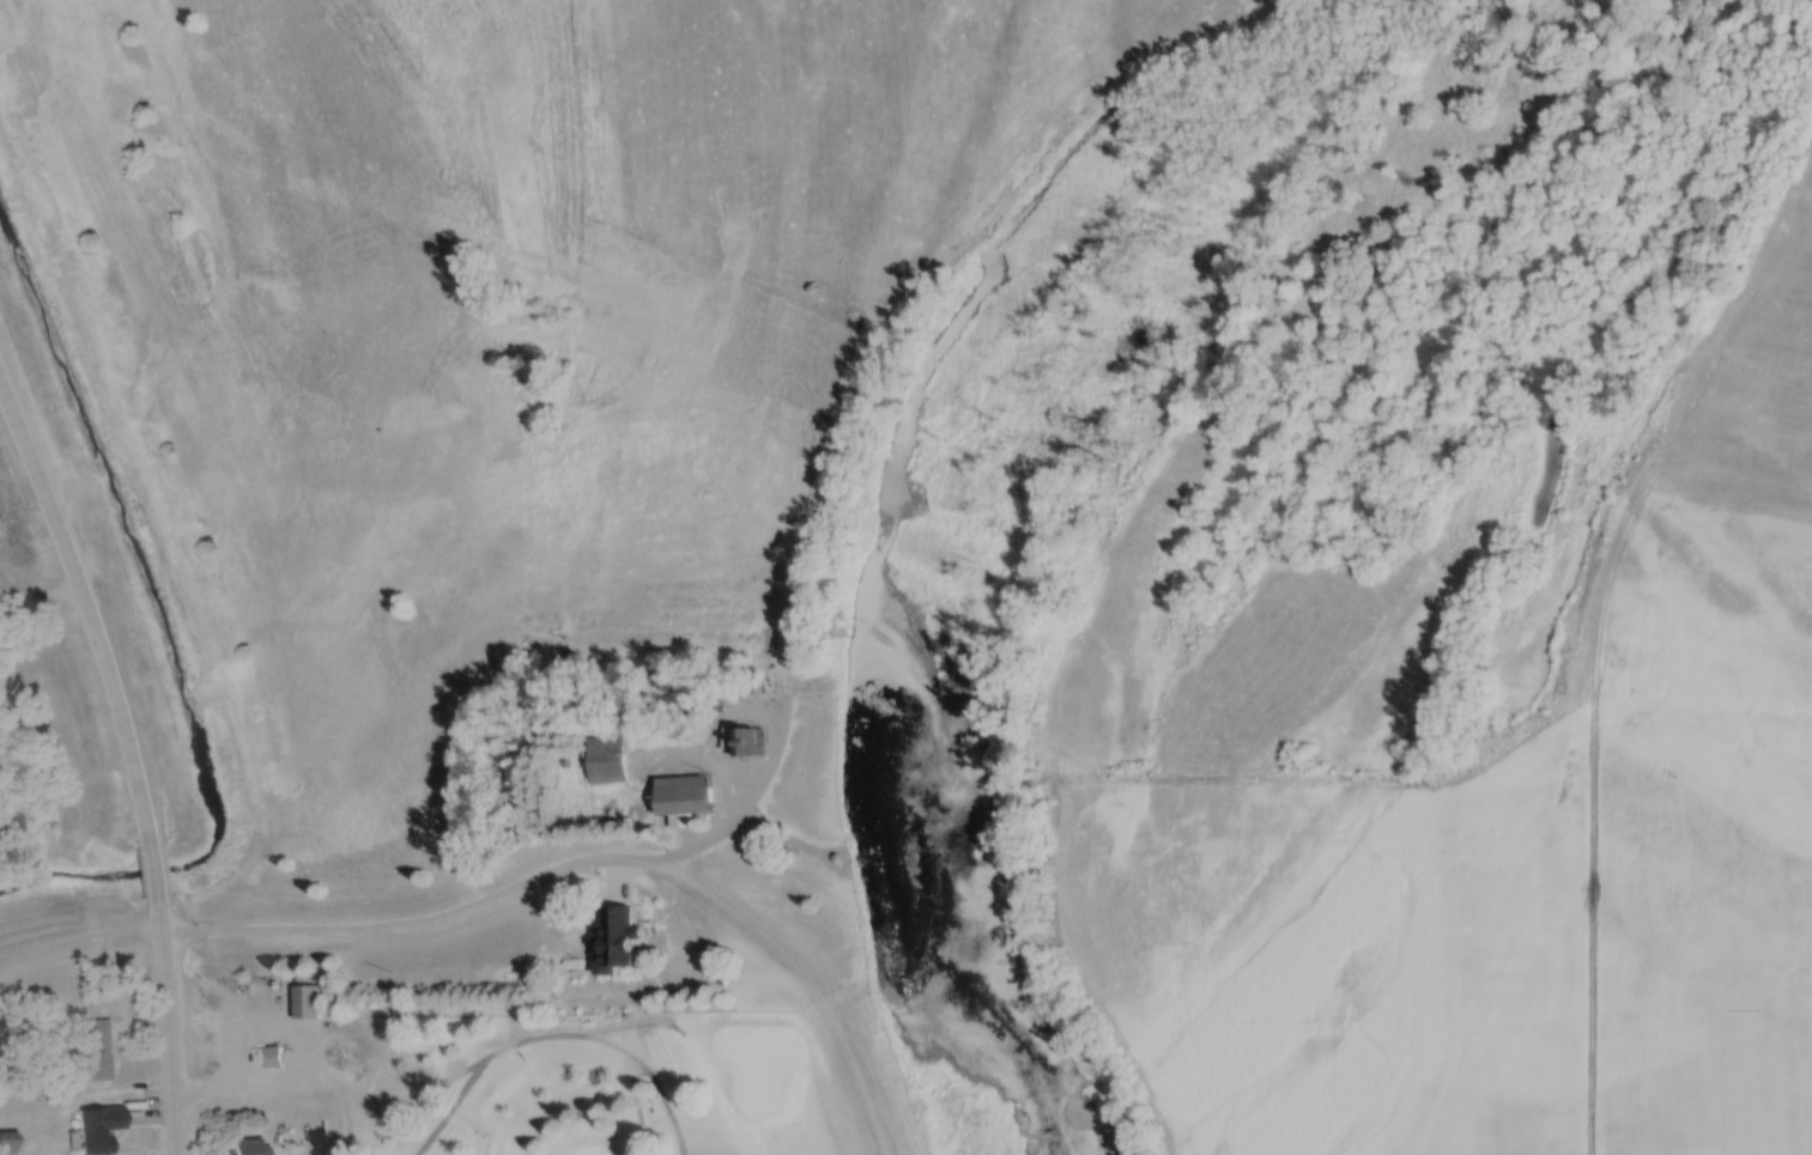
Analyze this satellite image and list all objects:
road: (85, 612)
building: (607, 760)
building: (685, 796)
road: (1571, 815)
road: (147, 869)
road: (413, 930)
building: (620, 930)
road: (806, 983)
building: (308, 1003)
road: (165, 1027)
building: (96, 1051)
building: (269, 1057)
park: (649, 1089)
building: (99, 1130)
building: (7, 1144)
building: (243, 1147)

